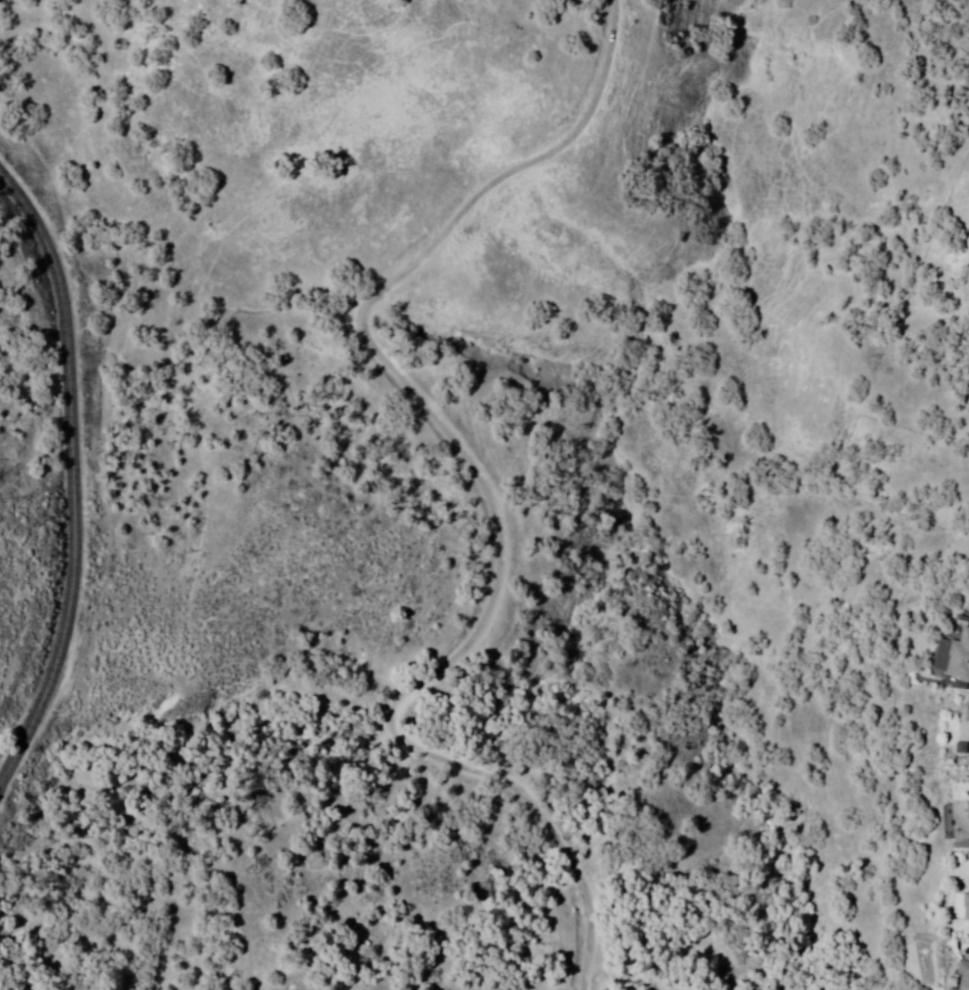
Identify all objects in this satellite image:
road: (74, 473)
road: (488, 488)
building: (961, 660)
building: (963, 749)
building: (964, 820)
building: (968, 909)
building: (965, 975)
building: (951, 989)

